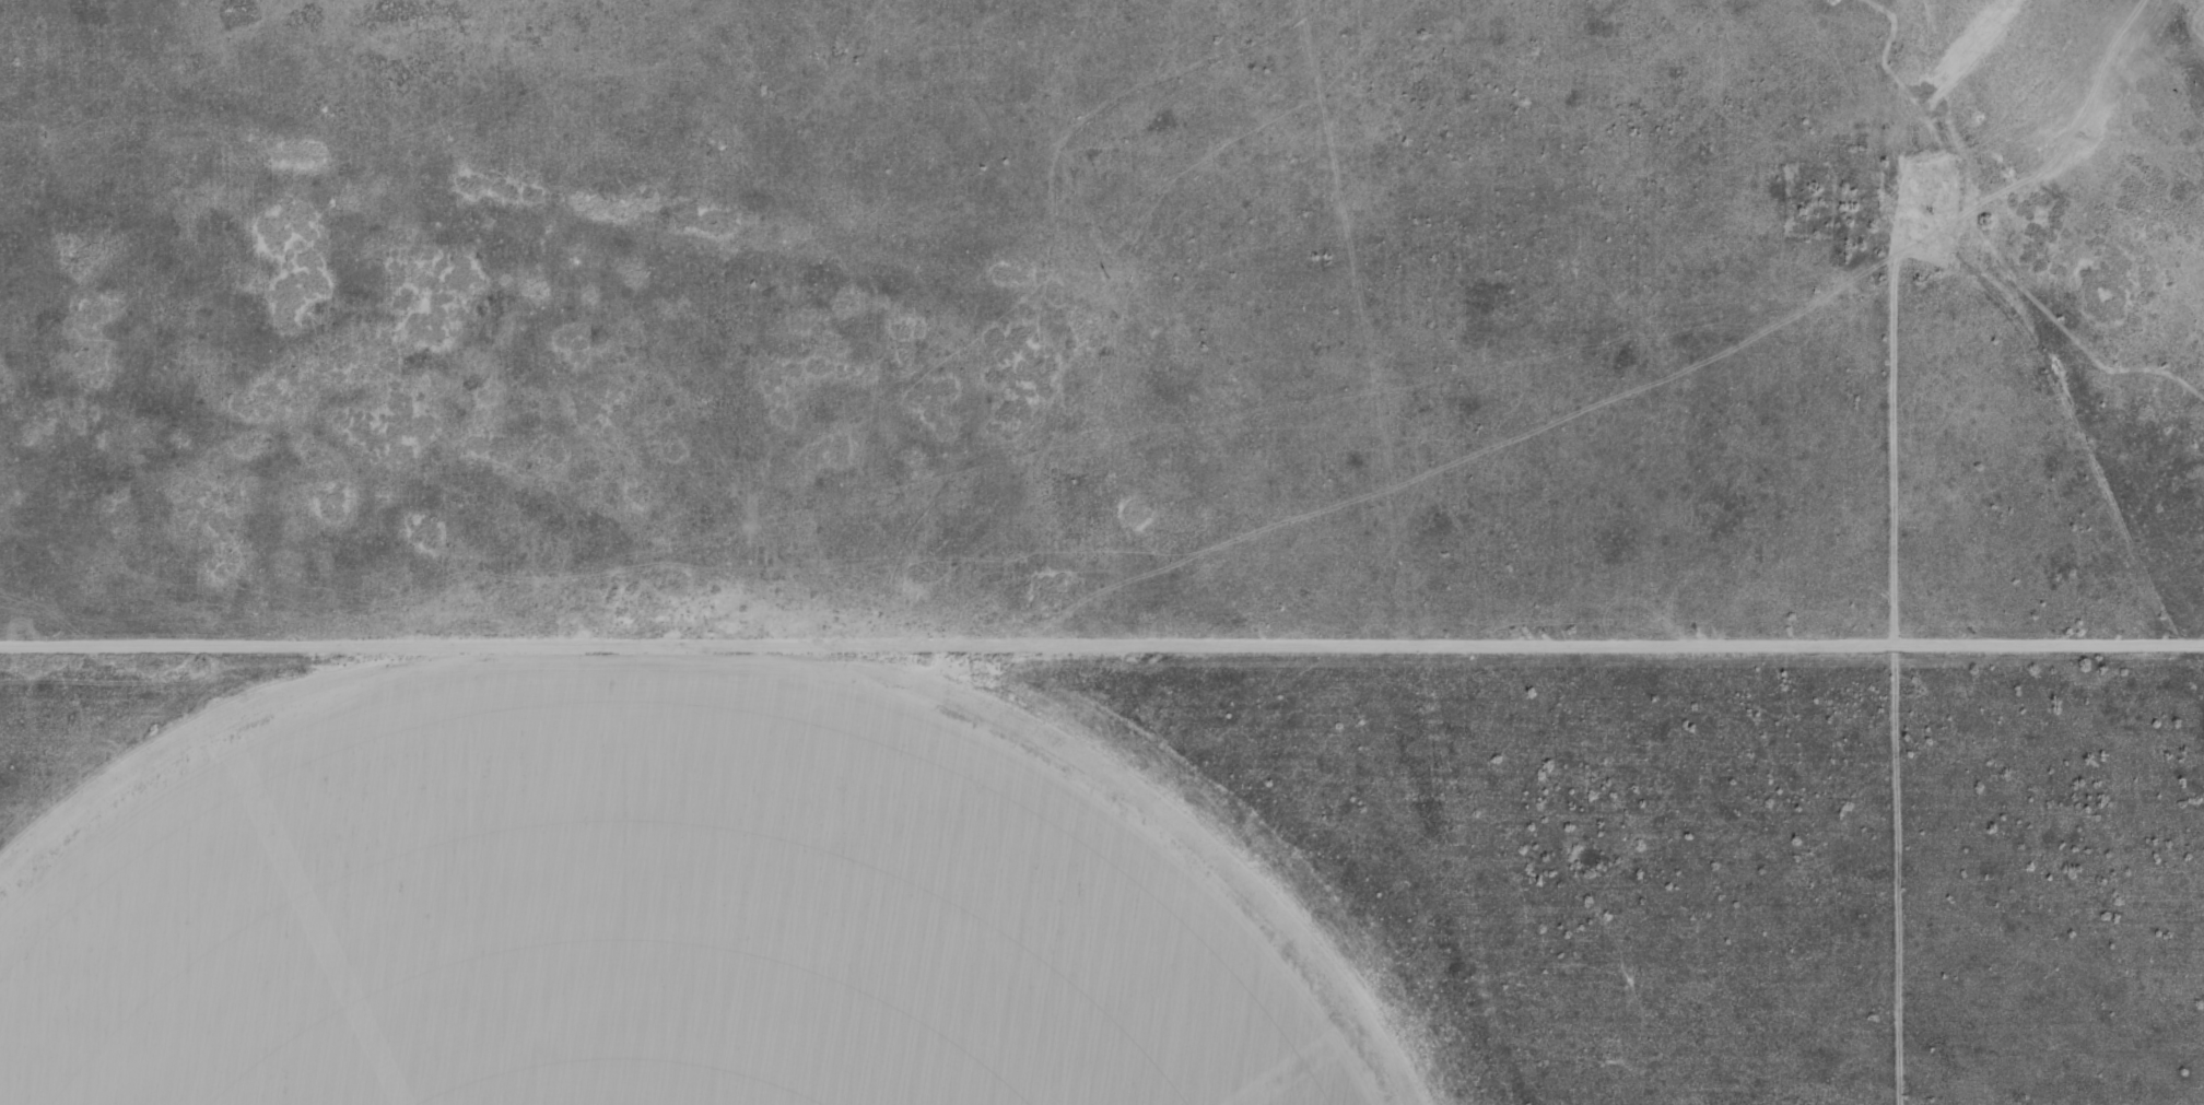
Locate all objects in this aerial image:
road: (2065, 505)

